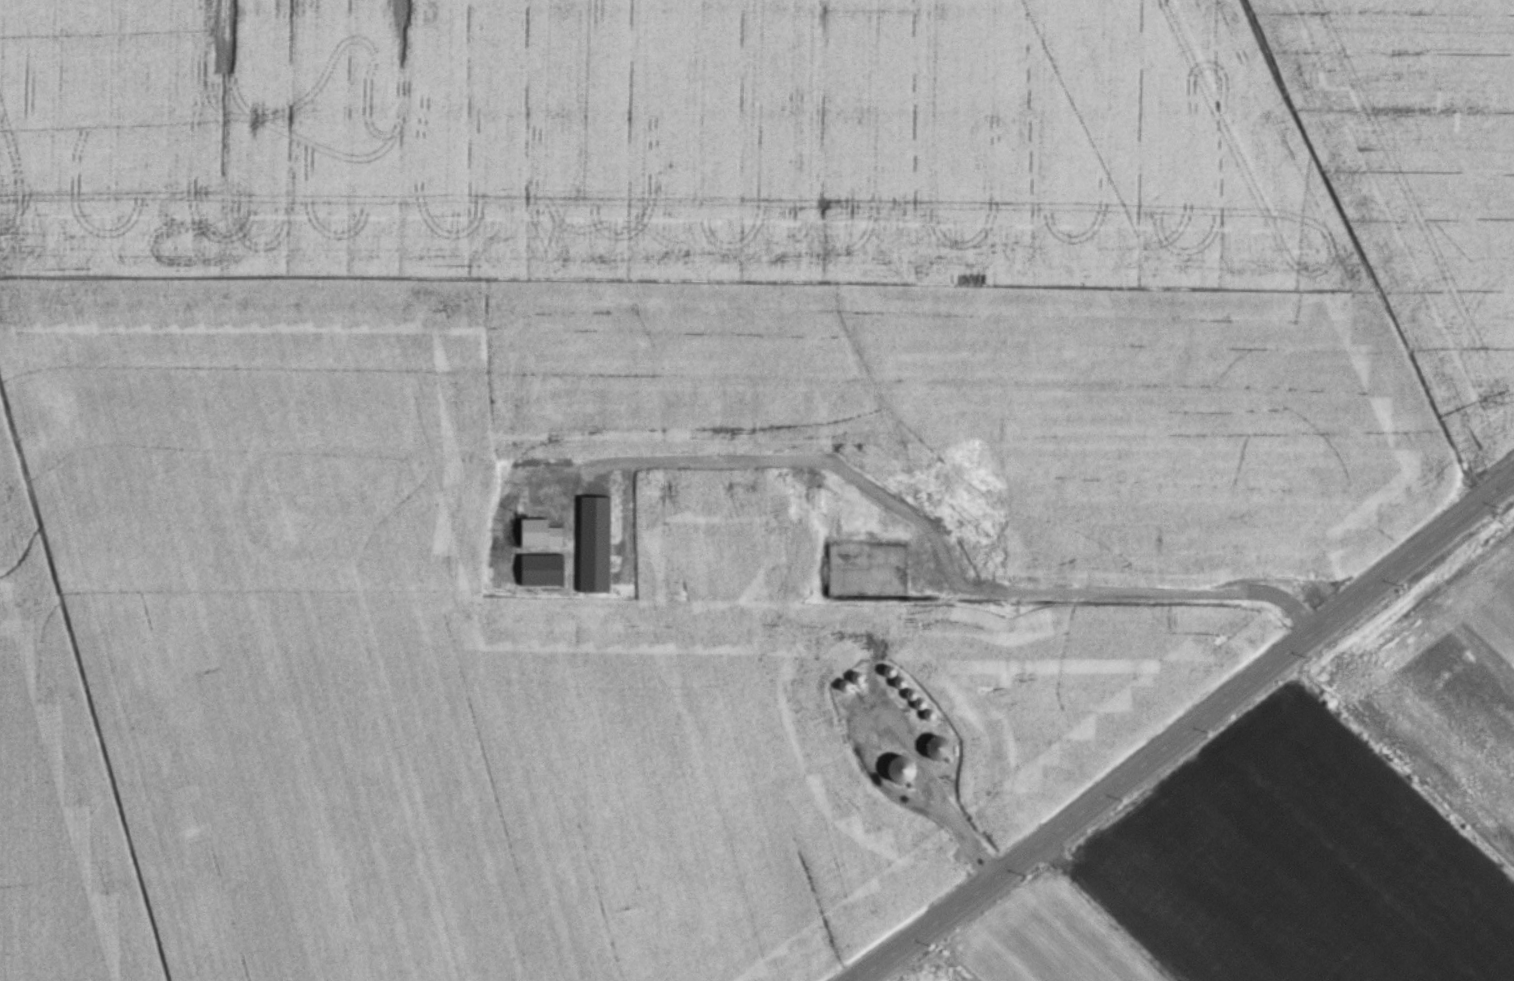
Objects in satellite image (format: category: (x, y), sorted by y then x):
road: (594, 466)
road: (509, 497)
road: (919, 522)
road: (509, 534)
airport hangar: (537, 535)
building: (537, 535)
airport hangar: (594, 546)
building: (594, 546)
road: (618, 548)
airport hangar: (539, 571)
building: (539, 571)
building: (887, 670)
storage tank: (887, 670)
building: (855, 676)
storage tank: (855, 676)
building: (898, 681)
storage tank: (898, 681)
building: (842, 684)
storage tank: (842, 684)
building: (909, 693)
storage tank: (909, 693)
building: (918, 702)
storage tank: (918, 702)
building: (927, 713)
storage tank: (927, 713)
road: (895, 715)
road: (1186, 728)
building: (935, 746)
storage tank: (935, 746)
building: (898, 768)
storage tank: (898, 768)

